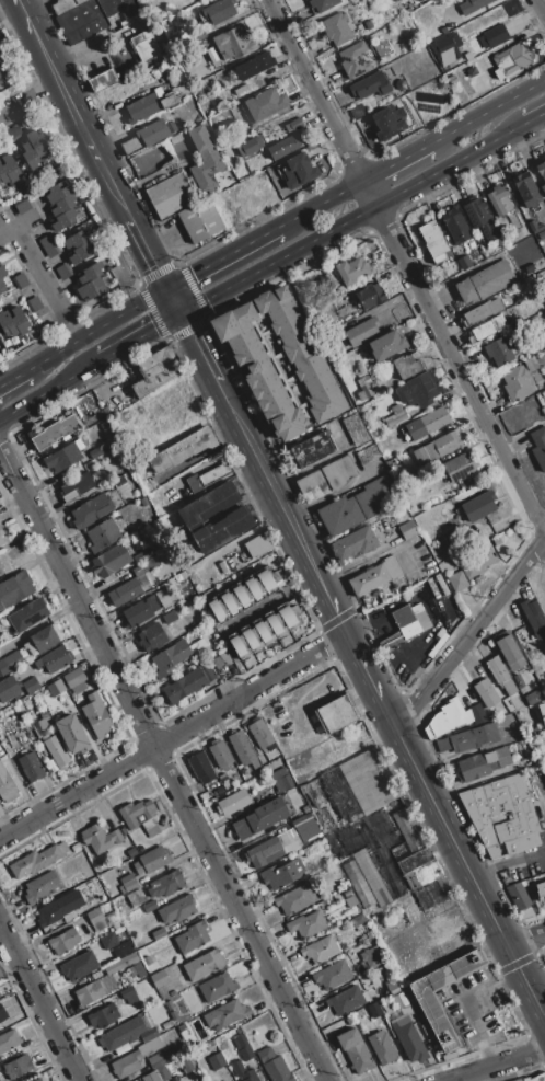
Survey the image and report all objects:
building: (78, 1)
road: (543, 2)
building: (323, 4)
building: (62, 5)
building: (472, 5)
building: (117, 11)
building: (219, 11)
road: (25, 15)
building: (424, 20)
building: (83, 21)
building: (368, 24)
building: (336, 28)
building: (496, 36)
building: (233, 43)
building: (144, 44)
building: (445, 47)
building: (0, 53)
building: (467, 56)
building: (1, 59)
building: (510, 59)
road: (48, 60)
building: (353, 60)
building: (254, 65)
building: (1, 67)
building: (1, 73)
building: (103, 79)
building: (1, 80)
building: (370, 85)
road: (318, 89)
building: (149, 104)
building: (265, 104)
road: (71, 105)
road: (31, 107)
building: (357, 111)
road: (487, 111)
road: (534, 116)
building: (387, 123)
building: (293, 124)
building: (14, 131)
building: (154, 131)
building: (37, 142)
building: (250, 146)
building: (282, 147)
road: (95, 149)
building: (30, 154)
building: (205, 159)
road: (396, 160)
road: (451, 163)
building: (10, 166)
building: (299, 170)
building: (541, 170)
building: (3, 175)
building: (11, 184)
building: (15, 185)
building: (543, 188)
building: (526, 189)
road: (371, 191)
building: (57, 193)
building: (170, 195)
road: (120, 198)
building: (81, 199)
building: (499, 199)
road: (322, 200)
building: (62, 204)
building: (22, 205)
road: (8, 212)
building: (480, 218)
building: (63, 219)
building: (199, 220)
building: (455, 226)
building: (541, 234)
building: (76, 240)
building: (433, 240)
building: (48, 245)
building: (80, 252)
road: (147, 253)
road: (221, 256)
road: (277, 258)
building: (464, 262)
traffic signals: (154, 268)
building: (529, 268)
building: (451, 269)
building: (62, 271)
building: (350, 271)
building: (2, 272)
building: (90, 273)
traffic signals: (189, 275)
building: (20, 280)
road: (49, 281)
building: (484, 281)
building: (2, 286)
building: (91, 289)
building: (339, 289)
road: (23, 291)
building: (370, 296)
road: (171, 301)
building: (33, 304)
building: (480, 312)
building: (19, 320)
building: (7, 325)
traffic signals: (154, 327)
building: (488, 329)
road: (93, 330)
building: (362, 332)
traffic signals: (187, 334)
road: (138, 336)
building: (387, 345)
road: (196, 348)
building: (499, 352)
building: (301, 353)
building: (406, 366)
road: (461, 366)
building: (529, 366)
building: (258, 370)
building: (156, 371)
road: (11, 379)
building: (515, 382)
building: (364, 388)
road: (49, 389)
building: (419, 389)
road: (227, 407)
building: (106, 410)
building: (395, 416)
building: (427, 423)
building: (104, 426)
building: (356, 429)
building: (55, 432)
building: (79, 444)
building: (438, 447)
building: (538, 447)
building: (311, 449)
building: (183, 450)
building: (96, 452)
building: (367, 455)
building: (62, 458)
building: (460, 467)
building: (338, 472)
building: (216, 473)
road: (262, 474)
building: (117, 481)
building: (194, 484)
building: (77, 486)
building: (313, 486)
building: (375, 497)
building: (143, 502)
building: (209, 506)
building: (478, 506)
building: (90, 511)
building: (340, 515)
building: (116, 518)
building: (482, 527)
building: (222, 529)
building: (407, 530)
building: (1, 533)
building: (103, 537)
building: (1, 541)
building: (496, 541)
building: (355, 543)
building: (257, 544)
road: (305, 555)
building: (138, 556)
building: (109, 561)
building: (478, 565)
building: (183, 574)
building: (374, 576)
building: (269, 580)
building: (456, 582)
building: (255, 588)
building: (14, 589)
building: (127, 590)
building: (242, 595)
building: (230, 602)
building: (151, 603)
building: (219, 609)
building: (137, 613)
building: (289, 613)
building: (27, 616)
building: (169, 617)
building: (420, 617)
building: (534, 618)
building: (276, 623)
building: (401, 628)
building: (264, 631)
road: (469, 631)
building: (151, 637)
building: (251, 637)
building: (416, 640)
building: (42, 641)
building: (216, 642)
building: (239, 645)
road: (353, 651)
building: (509, 651)
building: (171, 657)
building: (53, 659)
building: (221, 660)
building: (10, 662)
building: (209, 674)
building: (500, 675)
building: (74, 680)
building: (518, 680)
building: (31, 685)
building: (184, 686)
building: (55, 688)
building: (486, 693)
building: (534, 697)
building: (542, 712)
building: (336, 714)
building: (96, 715)
building: (476, 715)
building: (444, 718)
building: (535, 732)
building: (260, 734)
building: (73, 736)
road: (172, 736)
building: (469, 738)
building: (242, 748)
building: (56, 750)
building: (220, 755)
building: (483, 763)
road: (161, 766)
building: (31, 767)
building: (201, 768)
building: (243, 773)
building: (222, 777)
building: (280, 780)
building: (7, 785)
building: (350, 791)
building: (232, 803)
building: (305, 809)
building: (500, 810)
building: (140, 816)
building: (259, 818)
building: (305, 827)
building: (116, 836)
building: (95, 838)
building: (289, 840)
building: (522, 842)
building: (409, 843)
building: (372, 847)
building: (76, 848)
building: (131, 852)
building: (265, 852)
building: (152, 860)
building: (36, 861)
road: (463, 861)
building: (281, 873)
building: (77, 877)
building: (371, 878)
building: (128, 883)
building: (166, 884)
building: (358, 884)
building: (40, 886)
building: (541, 889)
building: (347, 893)
building: (433, 893)
building: (518, 896)
building: (136, 897)
building: (295, 899)
building: (350, 901)
building: (150, 907)
building: (59, 908)
building: (177, 909)
building: (100, 919)
building: (357, 919)
building: (306, 924)
building: (159, 933)
building: (192, 938)
road: (525, 940)
building: (63, 941)
building: (107, 941)
building: (123, 950)
building: (320, 950)
building: (370, 957)
building: (147, 961)
building: (120, 963)
building: (204, 964)
building: (79, 966)
building: (139, 969)
building: (332, 975)
building: (159, 979)
building: (183, 980)
building: (106, 982)
building: (120, 982)
building: (390, 985)
building: (217, 987)
building: (89, 992)
building: (128, 994)
building: (347, 1000)
road: (40, 1003)
building: (169, 1005)
road: (464, 1005)
road: (543, 1009)
building: (373, 1010)
building: (2, 1014)
building: (227, 1014)
building: (103, 1015)
building: (174, 1015)
building: (265, 1017)
building: (434, 1020)
building: (147, 1021)
building: (165, 1025)
building: (182, 1028)
building: (406, 1031)
building: (126, 1034)
building: (8, 1040)
building: (221, 1043)
building: (148, 1046)
building: (243, 1047)
building: (381, 1048)
building: (121, 1049)
building: (355, 1050)
building: (266, 1054)
building: (216, 1060)
building: (154, 1061)
building: (126, 1063)
road: (497, 1065)
building: (18, 1067)
building: (237, 1068)
building: (278, 1070)
building: (152, 1073)
building: (162, 1073)
building: (248, 1076)
building: (540, 1078)
building: (176, 1079)
building: (186, 1079)
building: (523, 1079)
building: (35, 1080)
building: (38, 1080)

